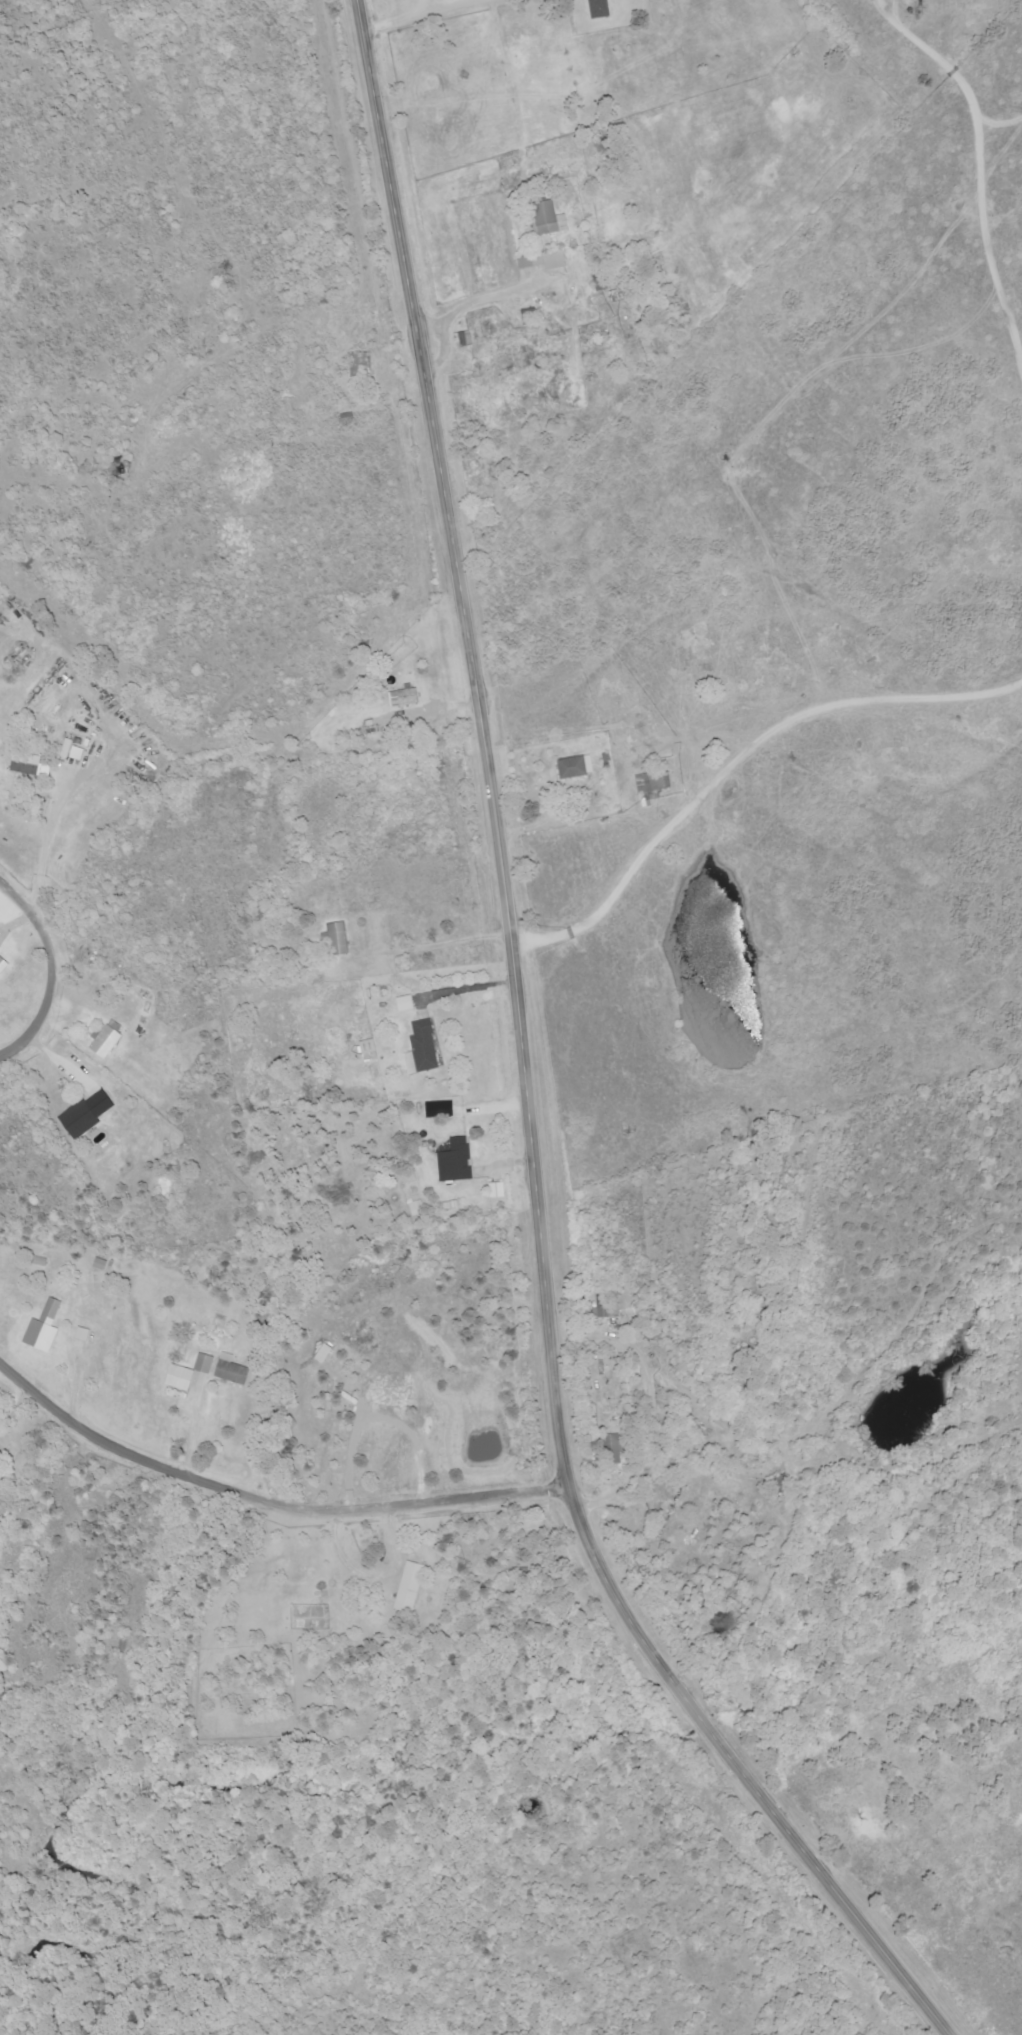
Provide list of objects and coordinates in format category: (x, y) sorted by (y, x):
road: (435, 6)
building: (596, 8)
road: (421, 15)
building: (546, 218)
building: (543, 260)
road: (472, 300)
road: (442, 355)
building: (359, 363)
building: (402, 696)
building: (70, 750)
road: (737, 758)
building: (27, 764)
building: (574, 766)
building: (651, 785)
road: (44, 847)
building: (334, 938)
road: (49, 971)
building: (403, 1003)
building: (105, 1039)
building: (365, 1046)
building: (420, 1048)
road: (523, 1074)
building: (82, 1114)
building: (453, 1160)
building: (495, 1189)
building: (605, 1305)
building: (42, 1327)
building: (81, 1333)
building: (202, 1362)
building: (228, 1369)
building: (176, 1376)
road: (194, 1427)
building: (611, 1448)
road: (264, 1504)
building: (407, 1586)

